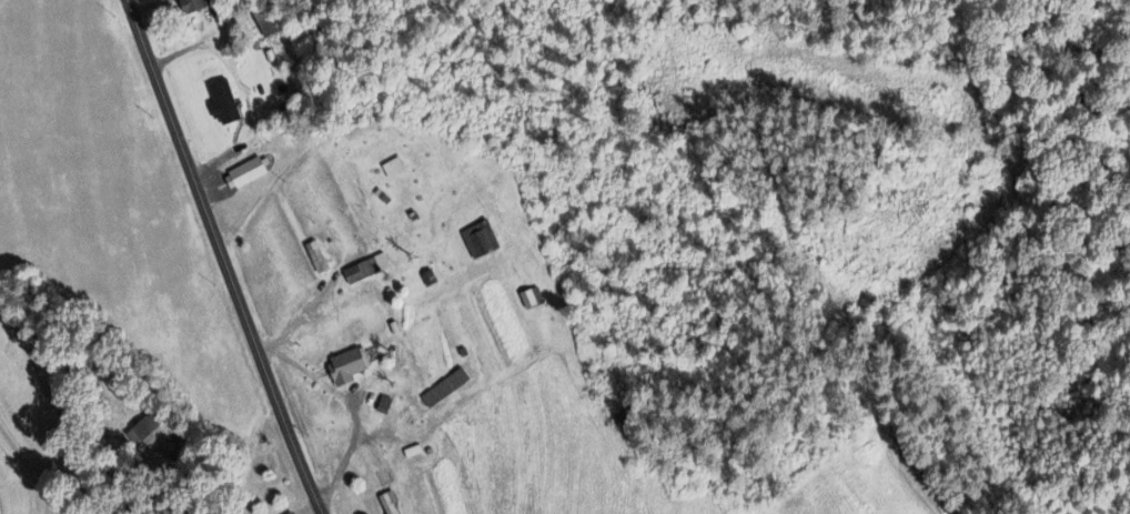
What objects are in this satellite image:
building: (198, 7)
road: (242, 91)
building: (226, 104)
building: (397, 169)
building: (249, 175)
building: (482, 241)
road: (220, 258)
building: (370, 270)
building: (532, 301)
building: (350, 369)
building: (447, 390)
building: (387, 406)
road: (58, 419)
building: (152, 434)

